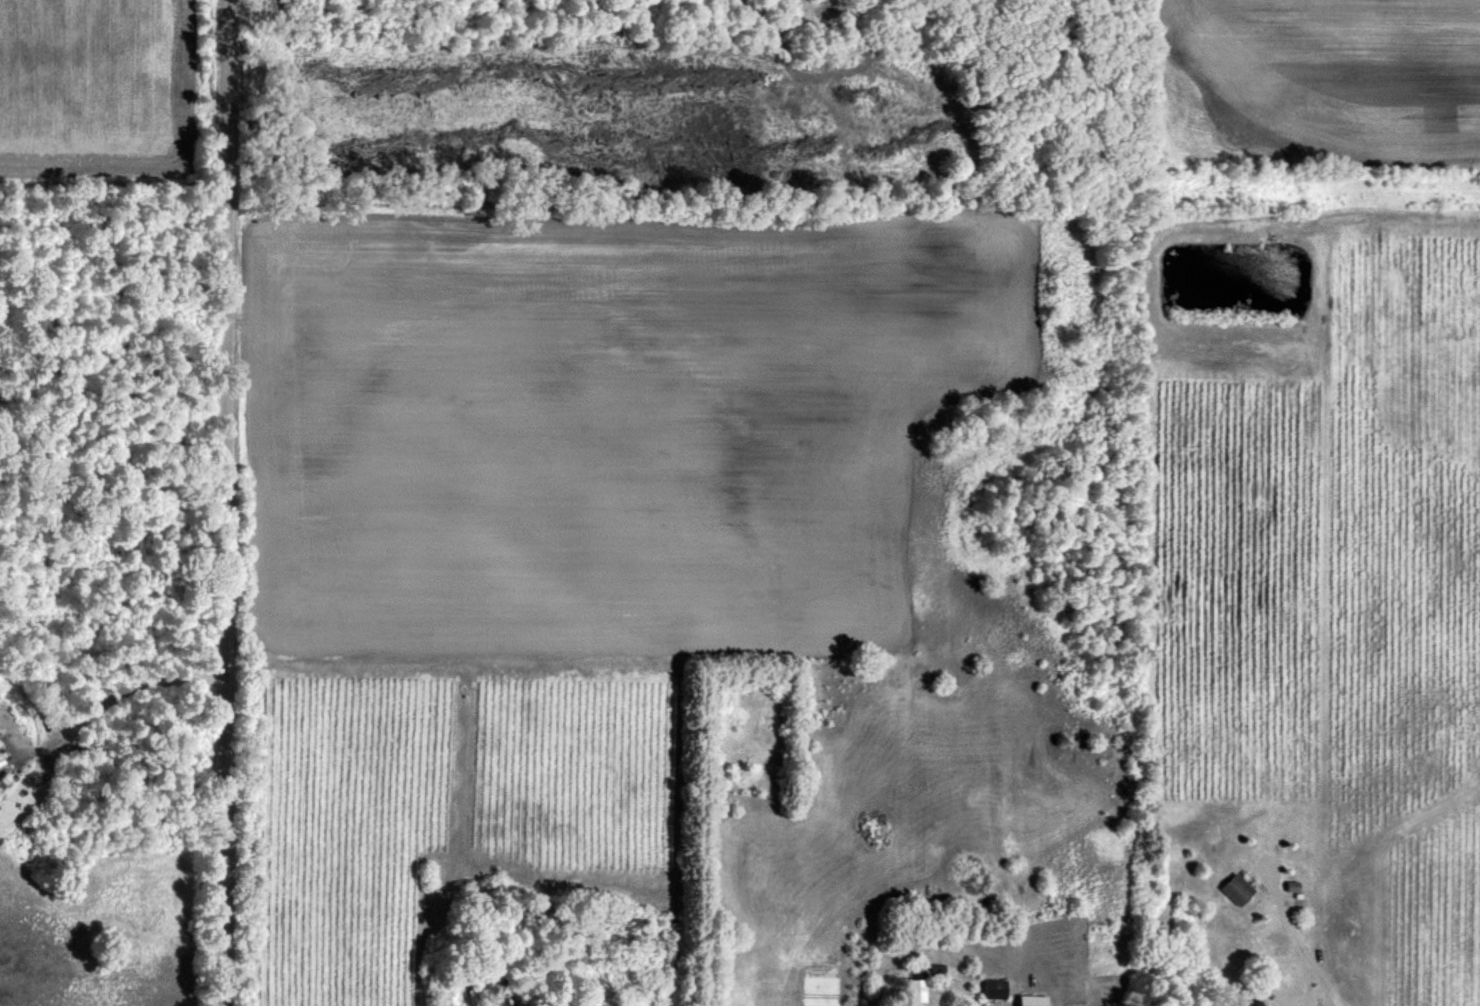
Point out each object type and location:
road: (225, 503)
building: (1237, 889)
road: (1303, 940)
building: (937, 967)
building: (994, 988)
building: (916, 990)
building: (1032, 1000)
building: (1251, 1002)

